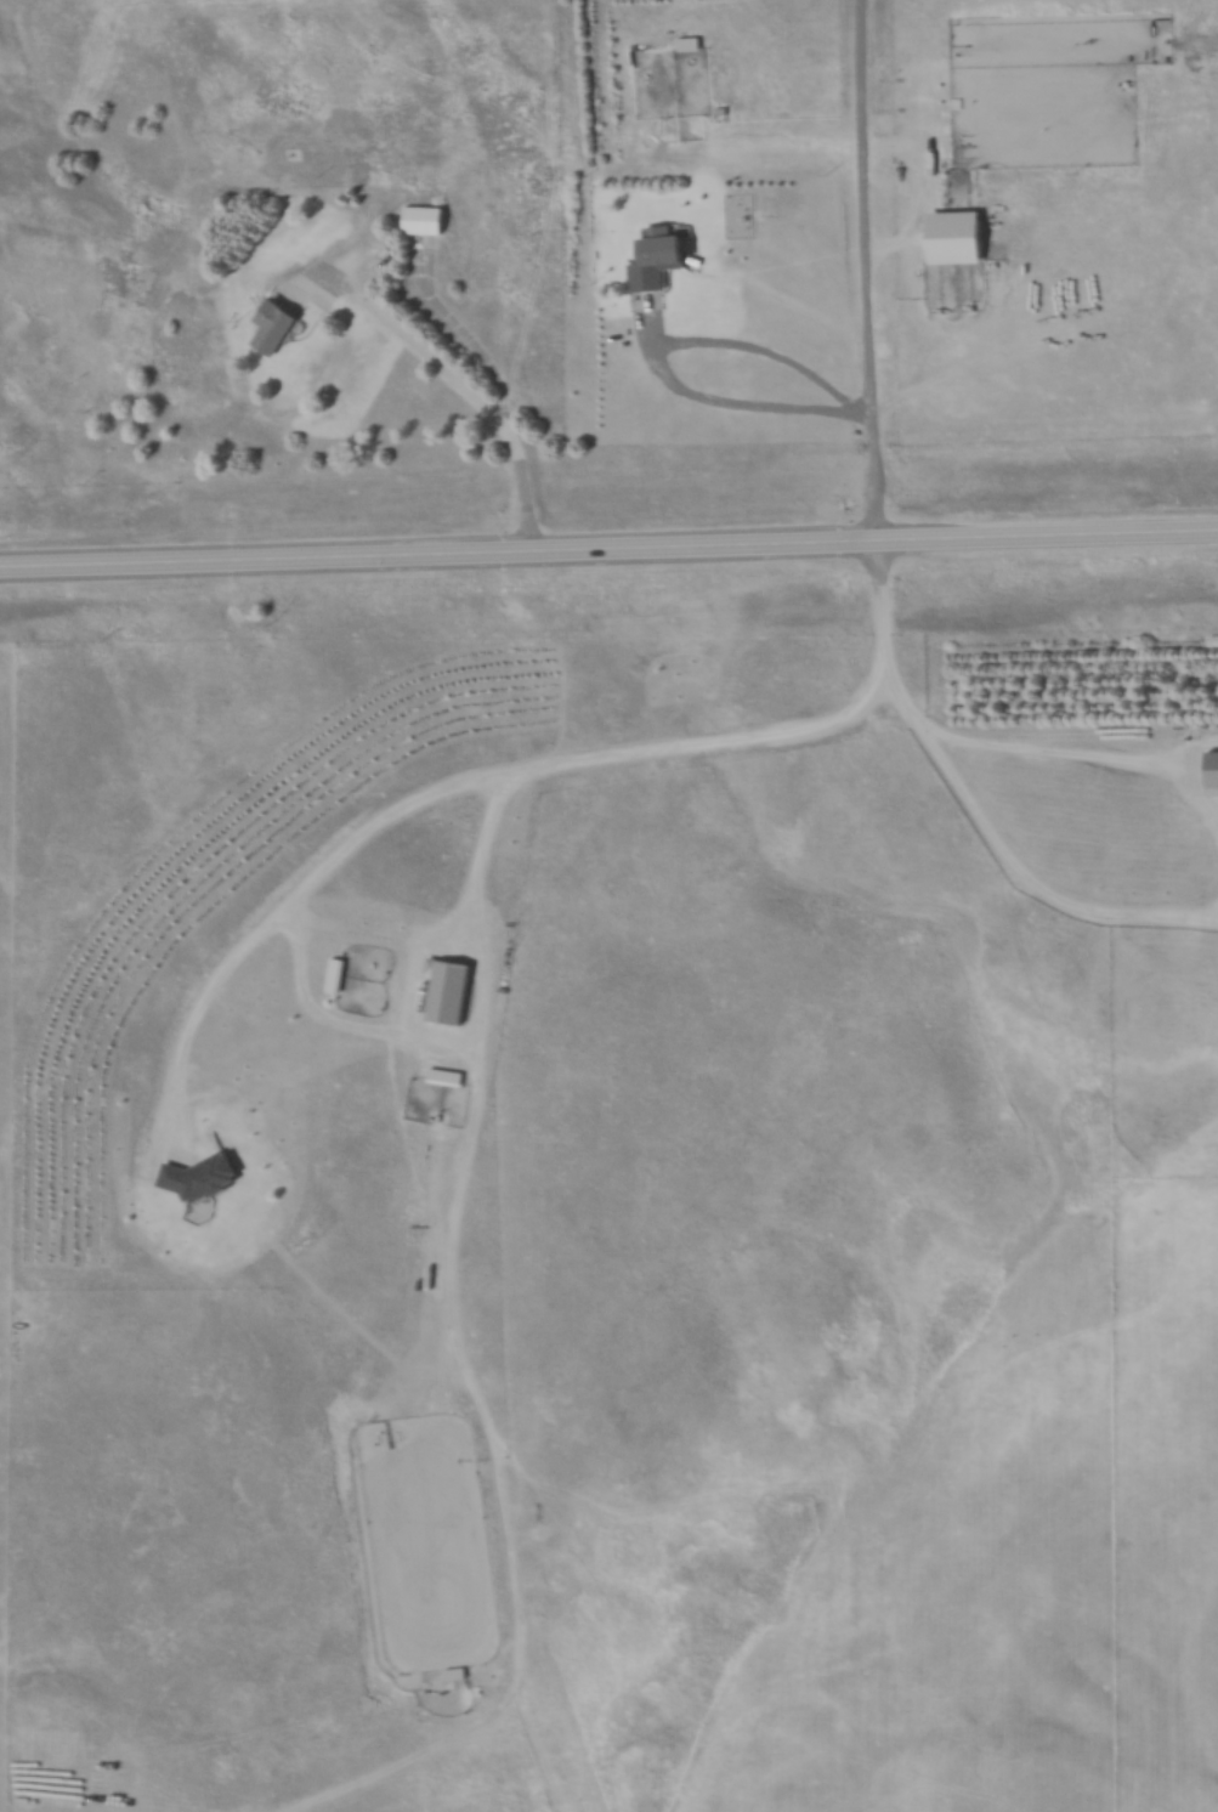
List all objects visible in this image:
building: (693, 41)
building: (426, 217)
building: (659, 257)
road: (783, 306)
building: (278, 324)
road: (469, 397)
road: (608, 560)
road: (873, 567)
building: (1214, 771)

